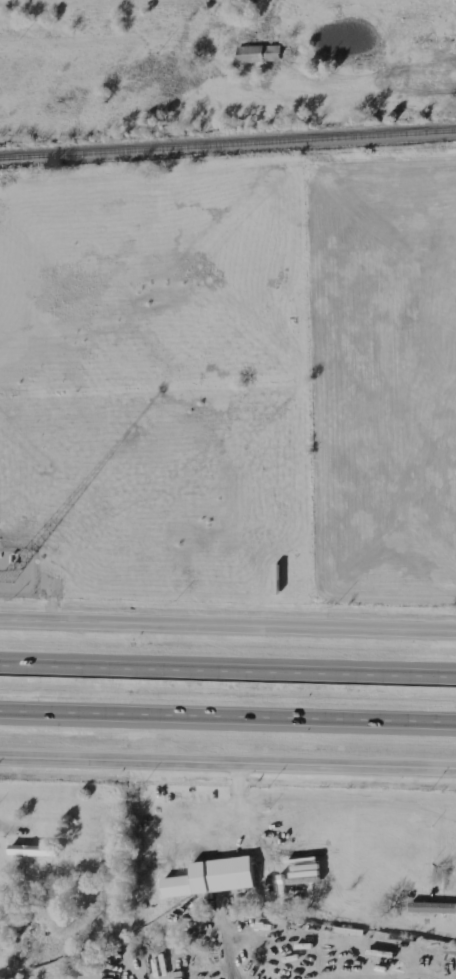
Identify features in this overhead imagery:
building: (256, 57)
railway: (227, 145)
road: (228, 627)
road: (228, 673)
road: (228, 719)
road: (228, 765)
road: (11, 831)
building: (31, 853)
building: (209, 880)

